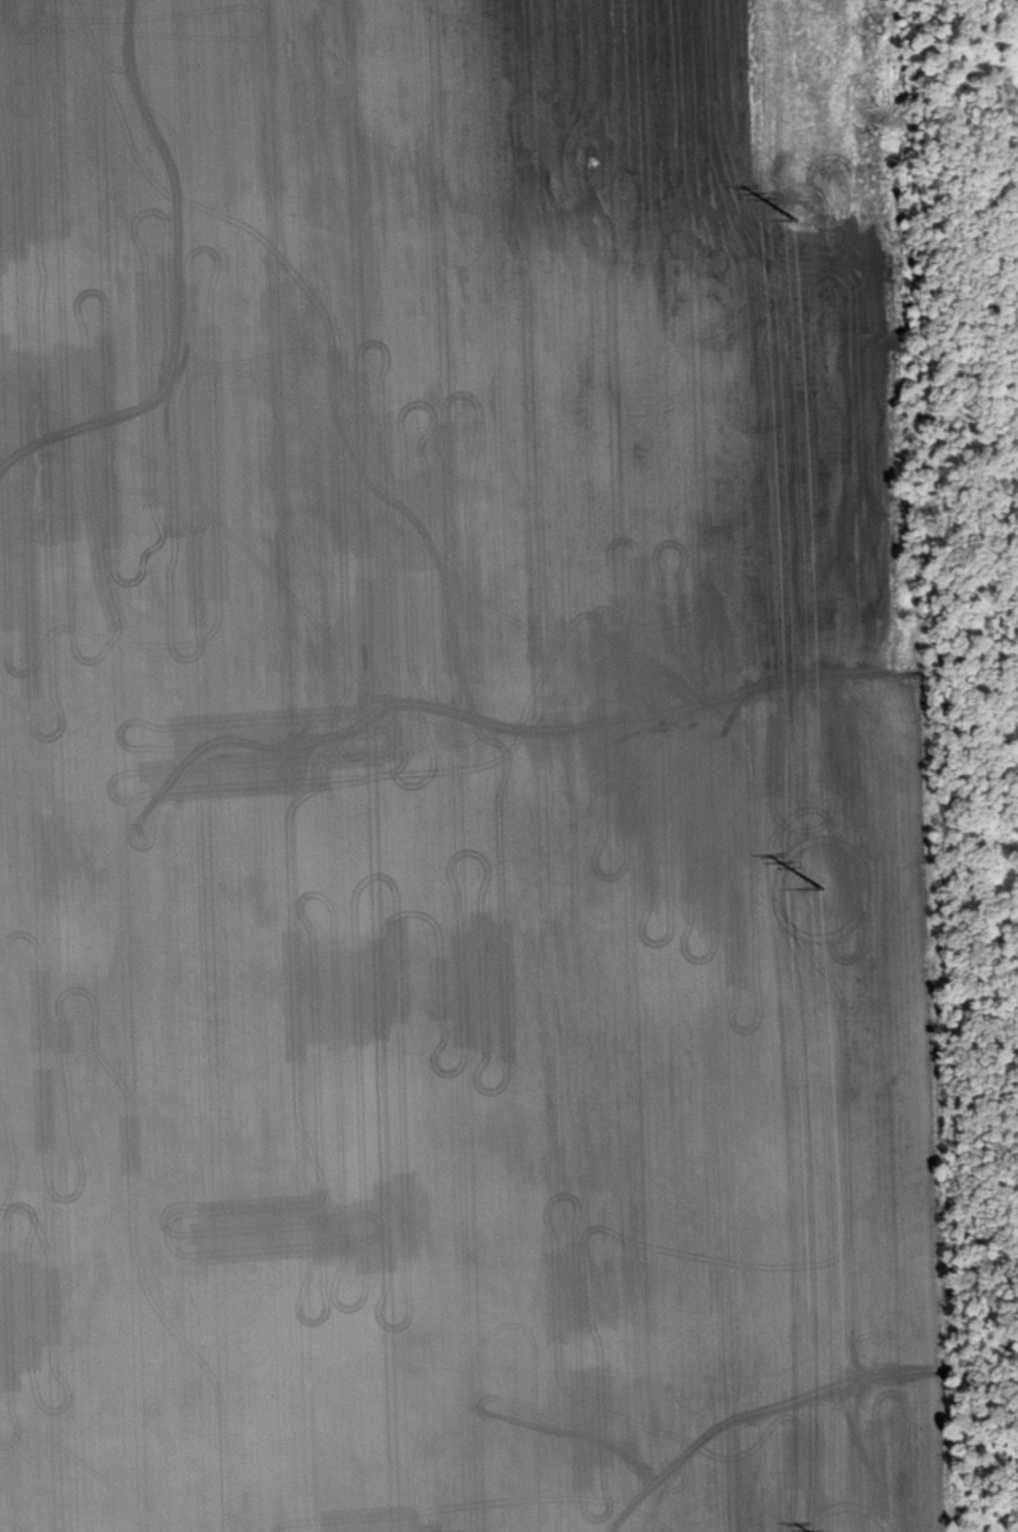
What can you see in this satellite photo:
power tower: (791, 213)
power tower: (809, 878)

